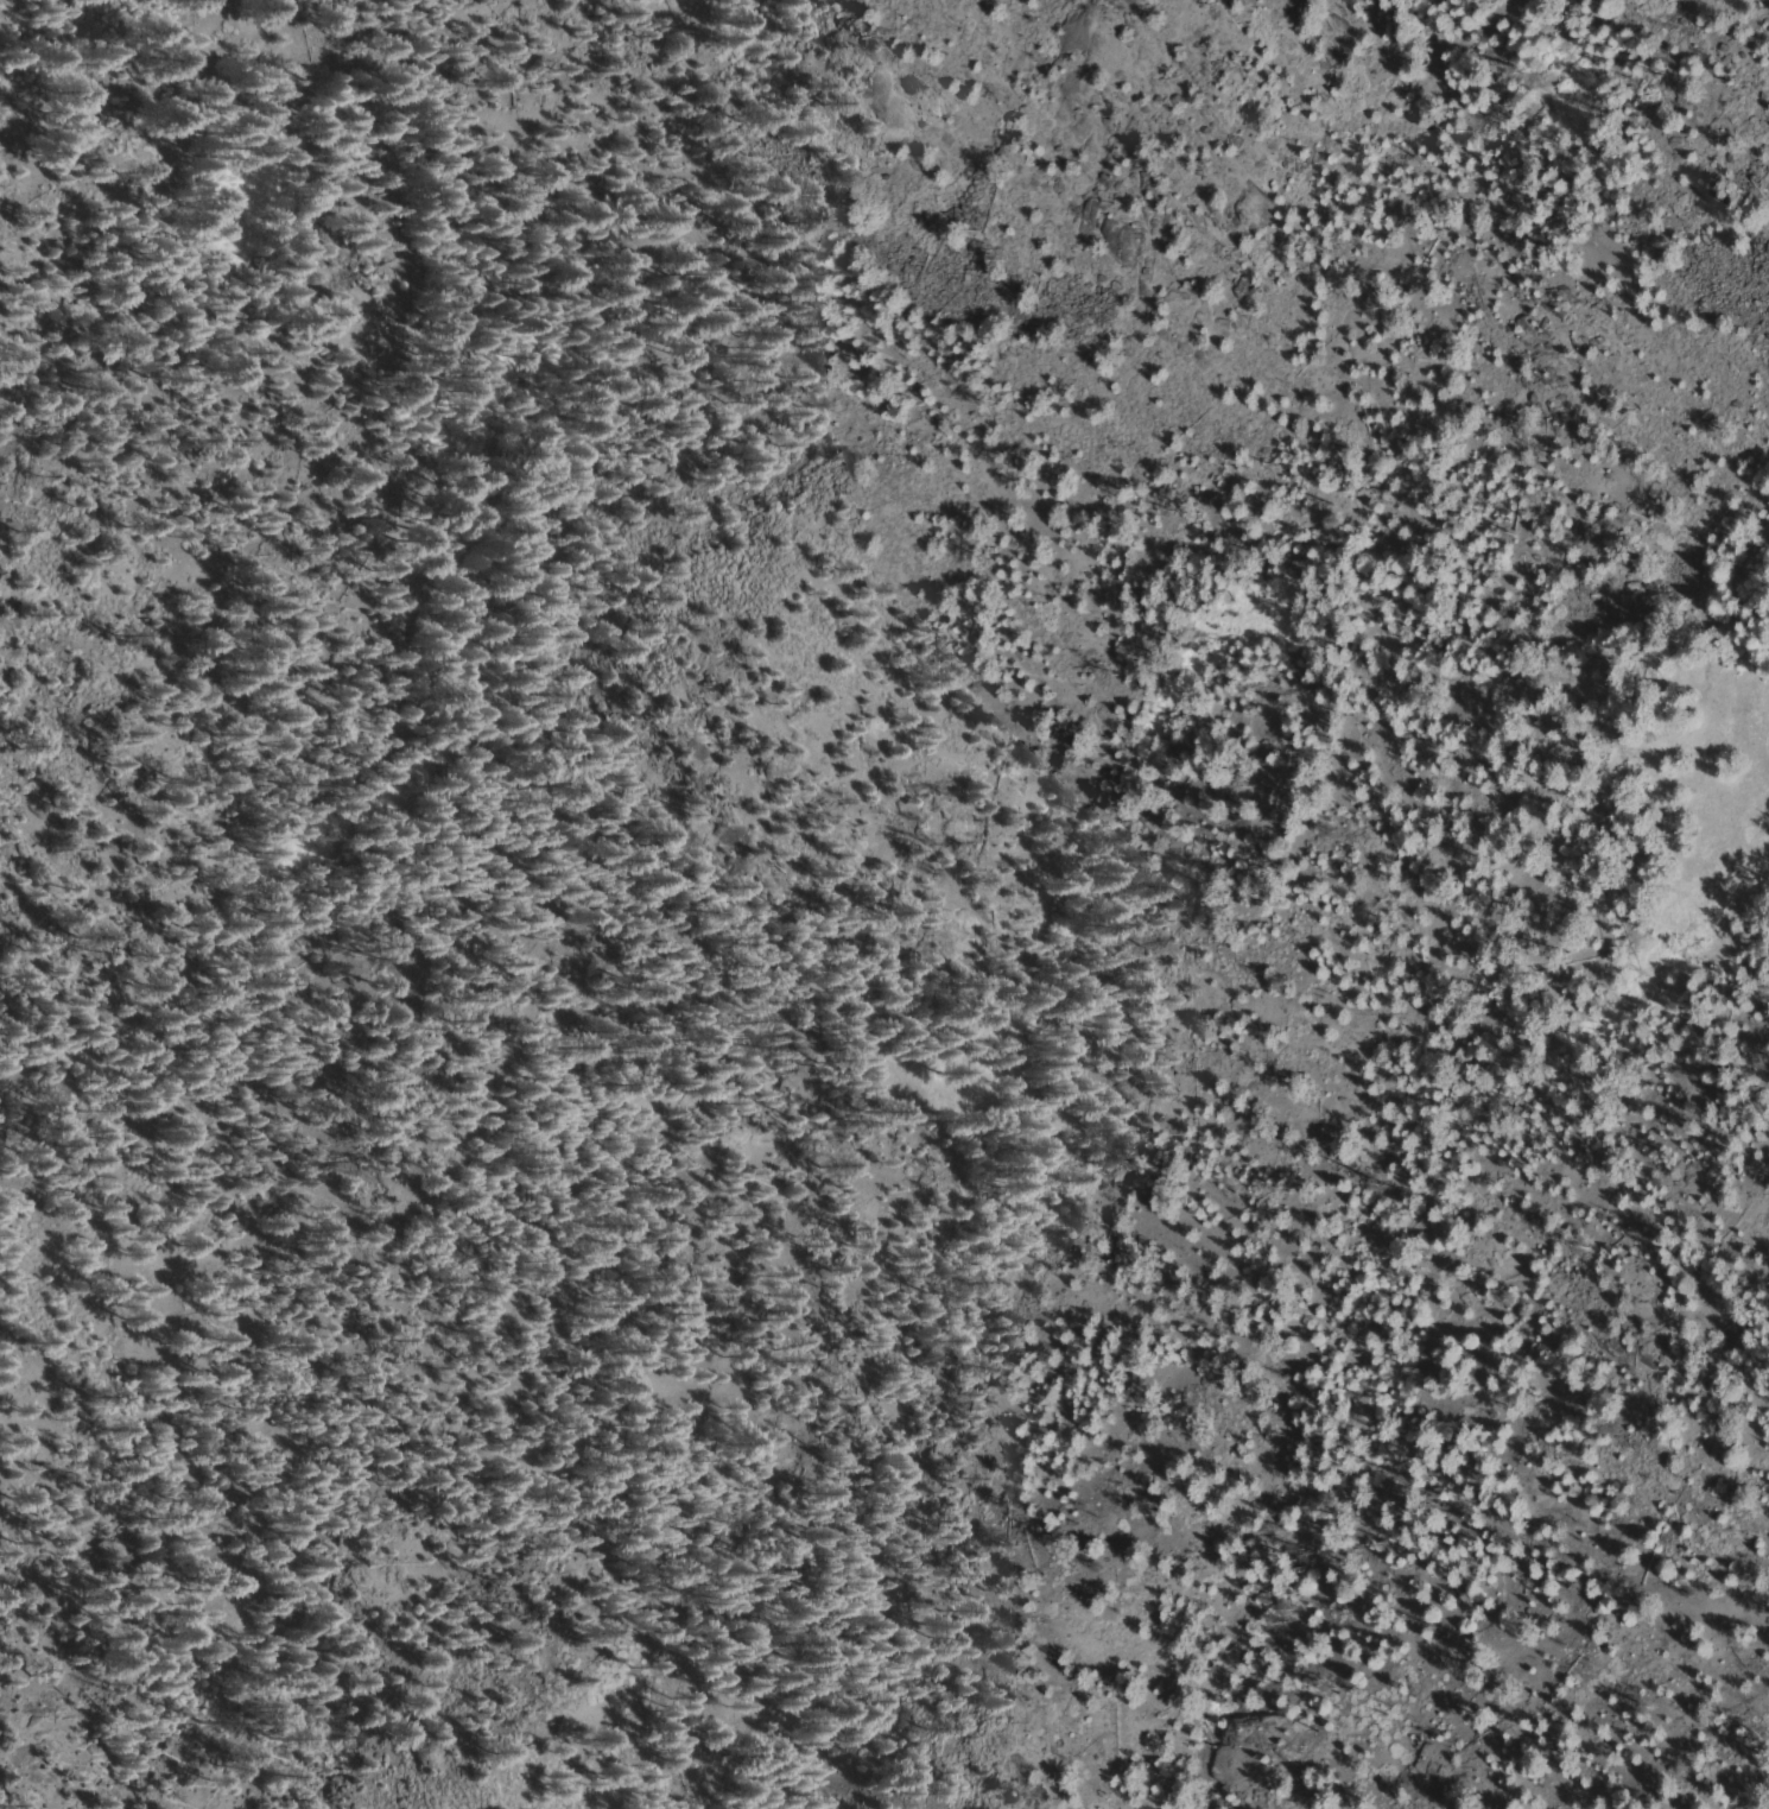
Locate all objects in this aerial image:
road: (1057, 434)

